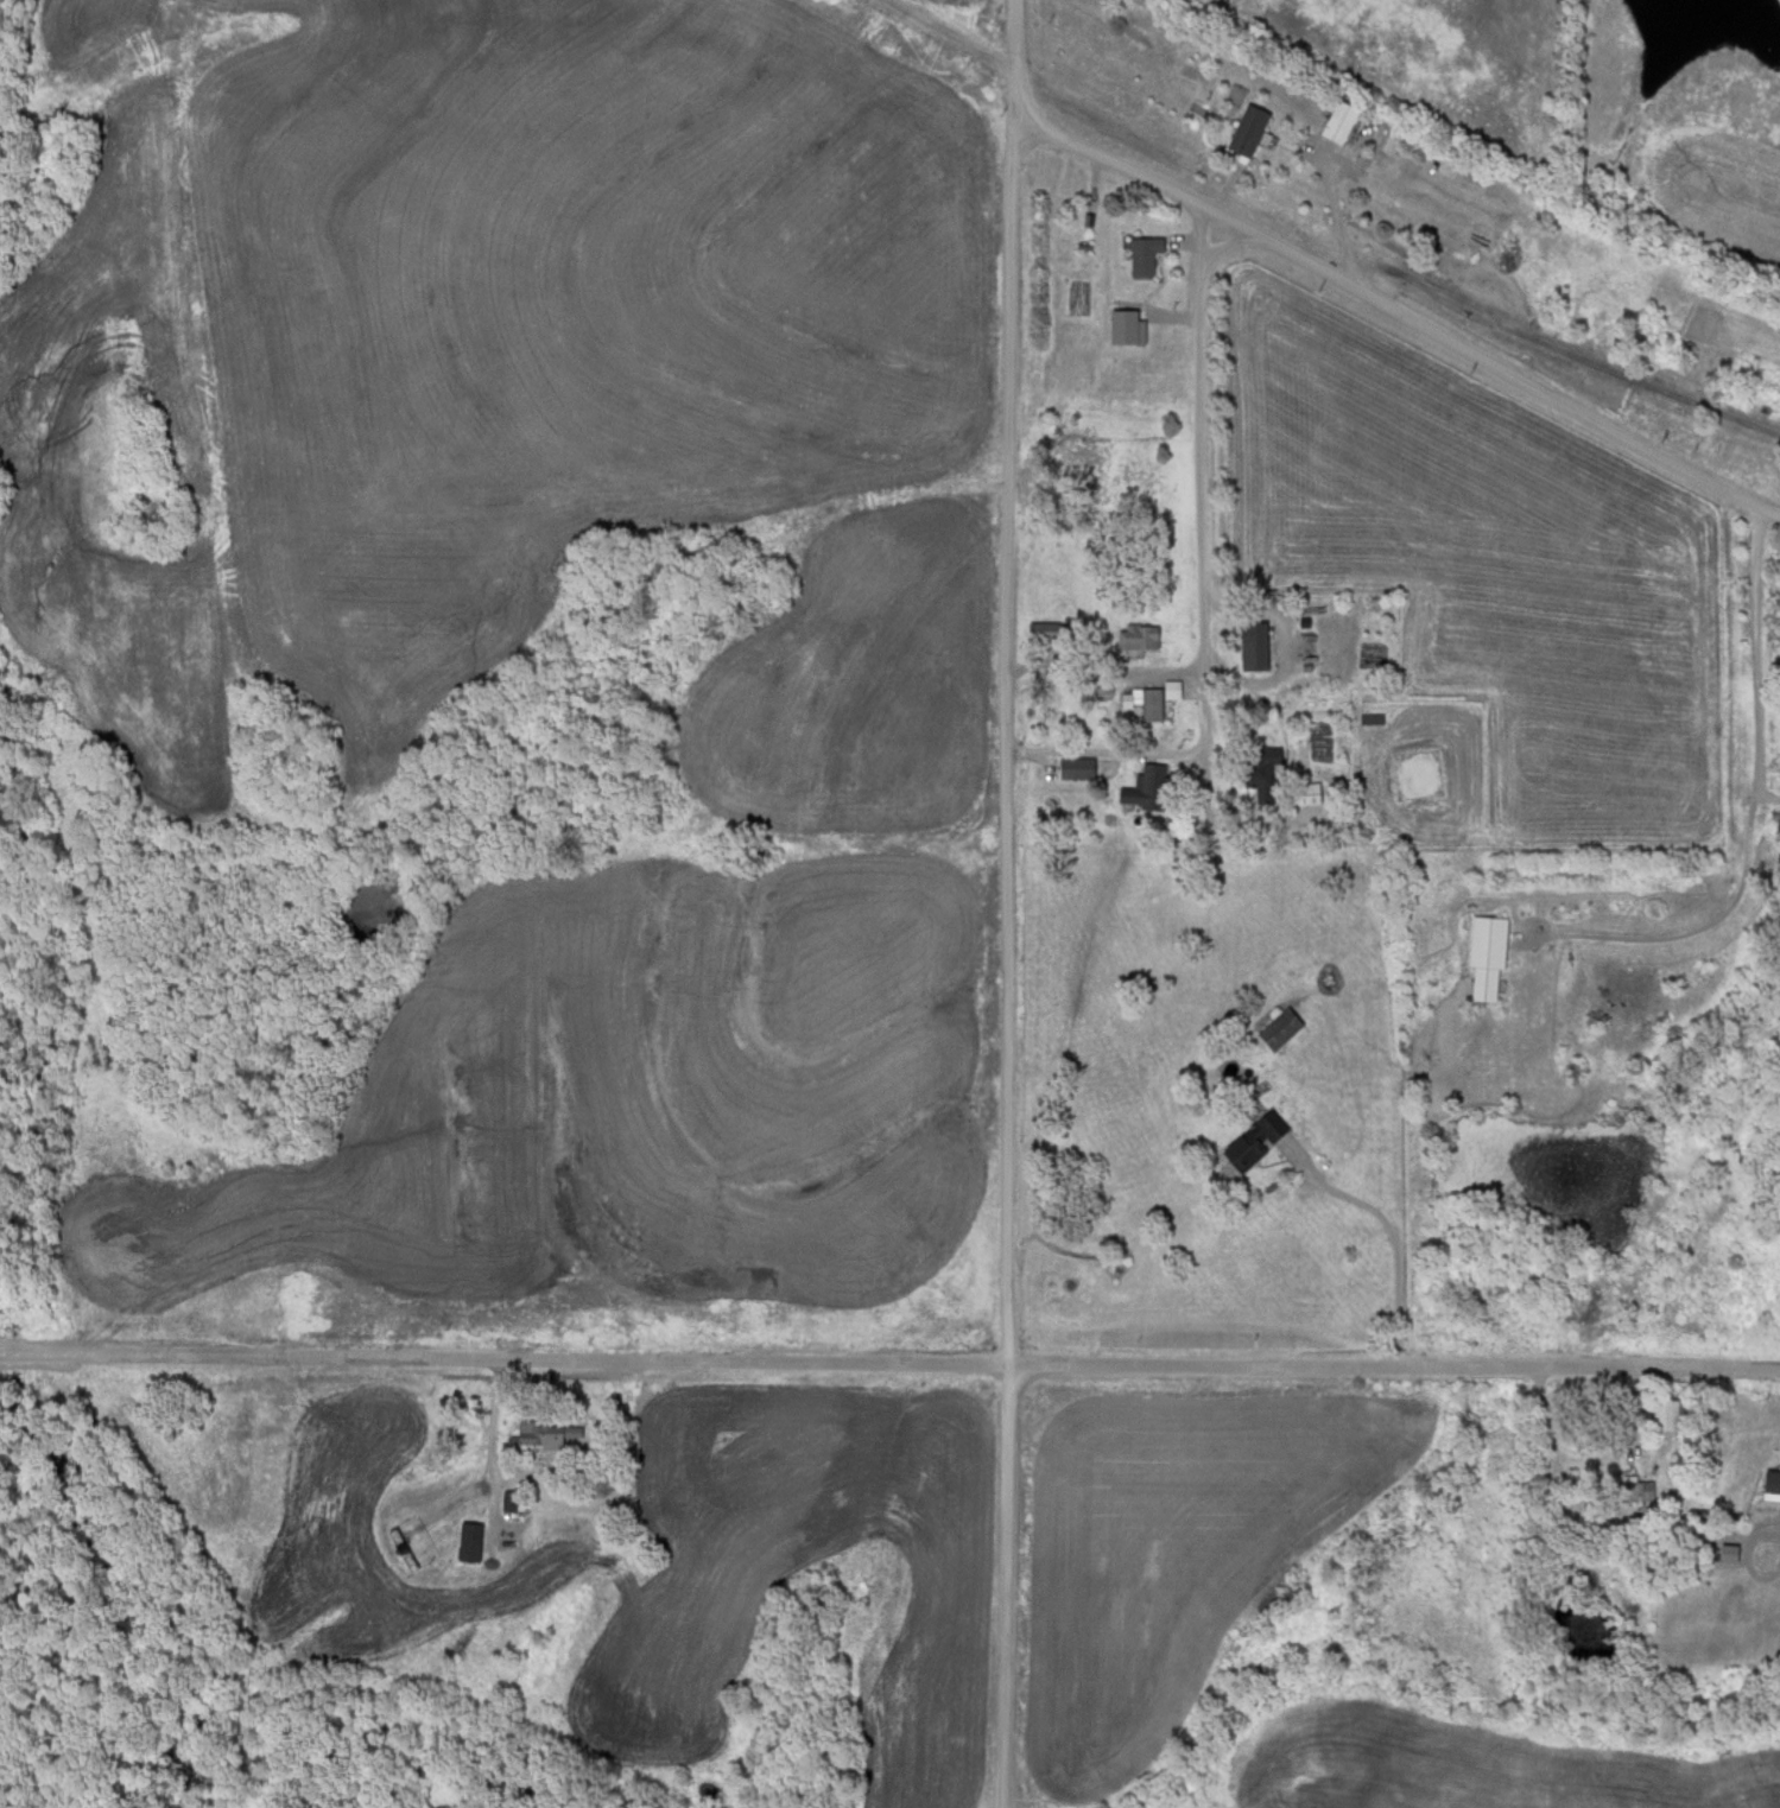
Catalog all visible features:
building: (1244, 131)
building: (1356, 133)
road: (1338, 215)
building: (1141, 255)
road: (1401, 311)
road: (1197, 488)
building: (1038, 630)
building: (1134, 636)
building: (1249, 646)
road: (1755, 649)
building: (1148, 704)
building: (1259, 762)
building: (1779, 762)
building: (1073, 768)
building: (1142, 787)
building: (1310, 793)
road: (1003, 902)
building: (1483, 956)
building: (1277, 1029)
building: (1250, 1141)
road: (502, 1358)
road: (1393, 1366)
building: (1664, 1415)
building: (537, 1435)
building: (1634, 1489)
building: (465, 1542)

